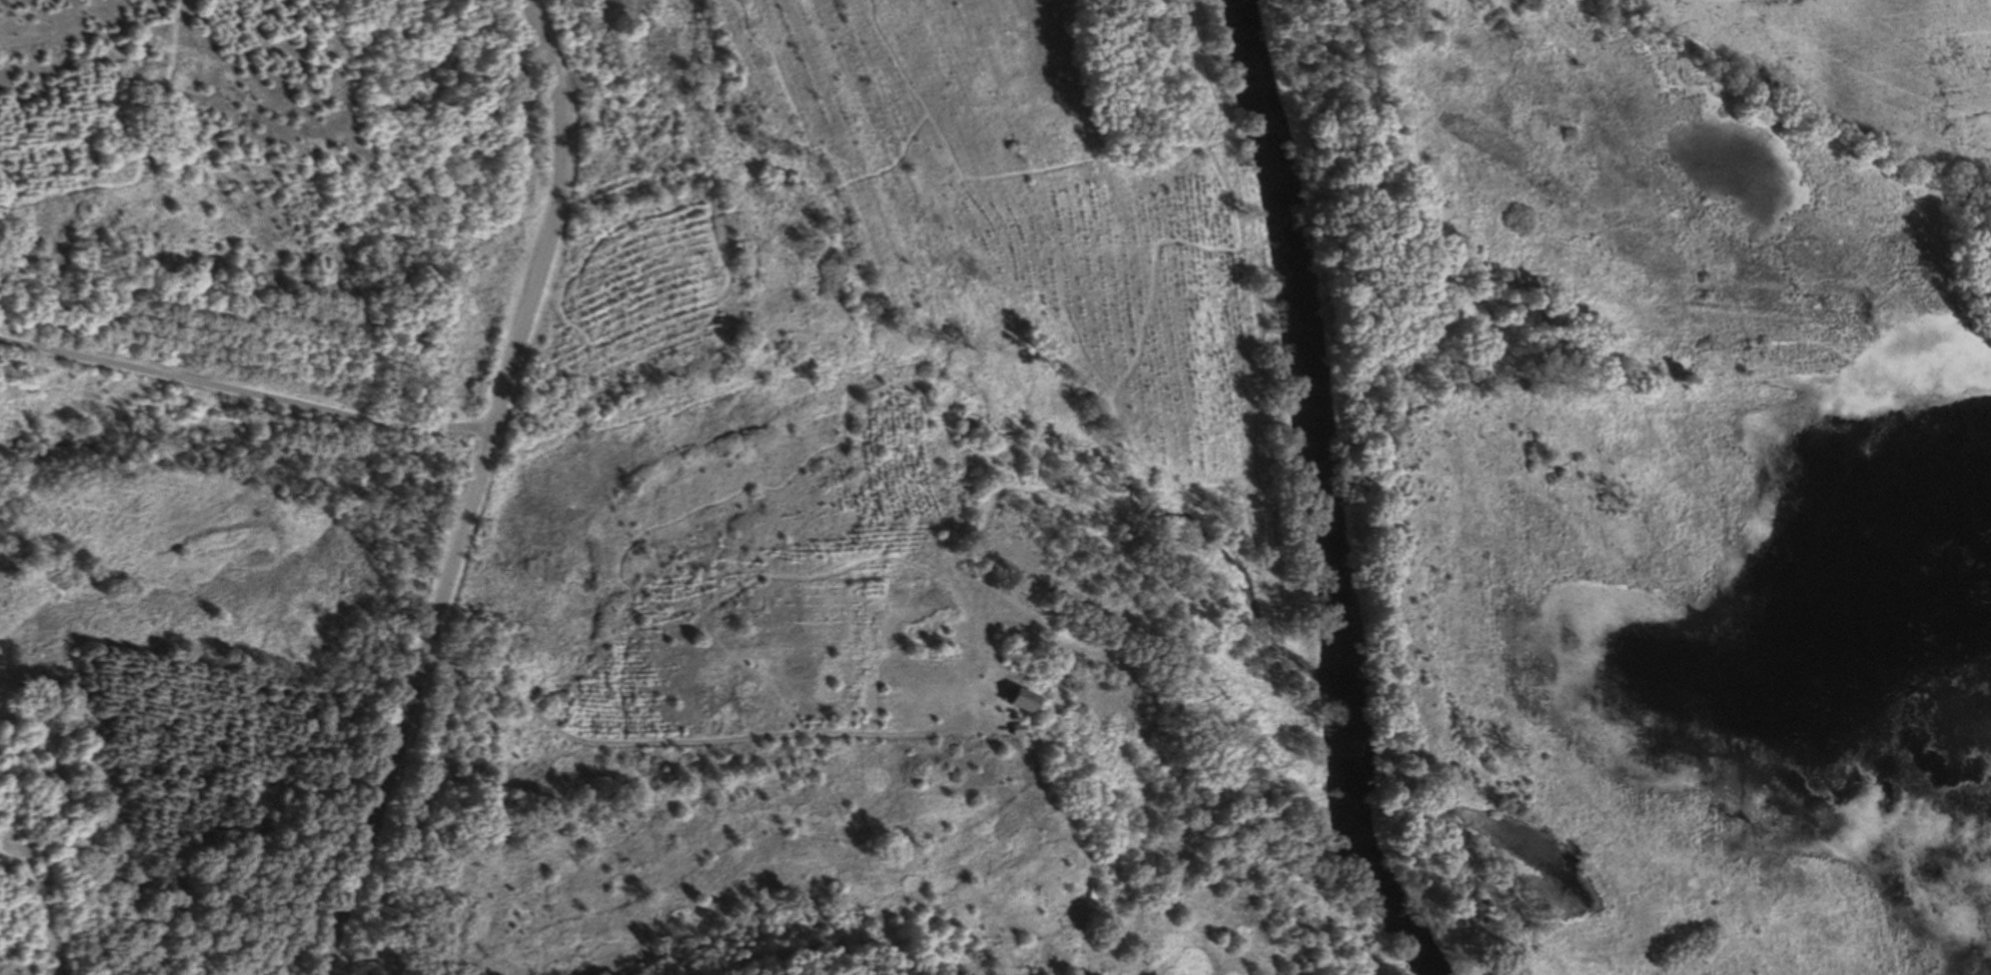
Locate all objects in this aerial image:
road: (243, 391)
road: (471, 489)
river: (1332, 492)

